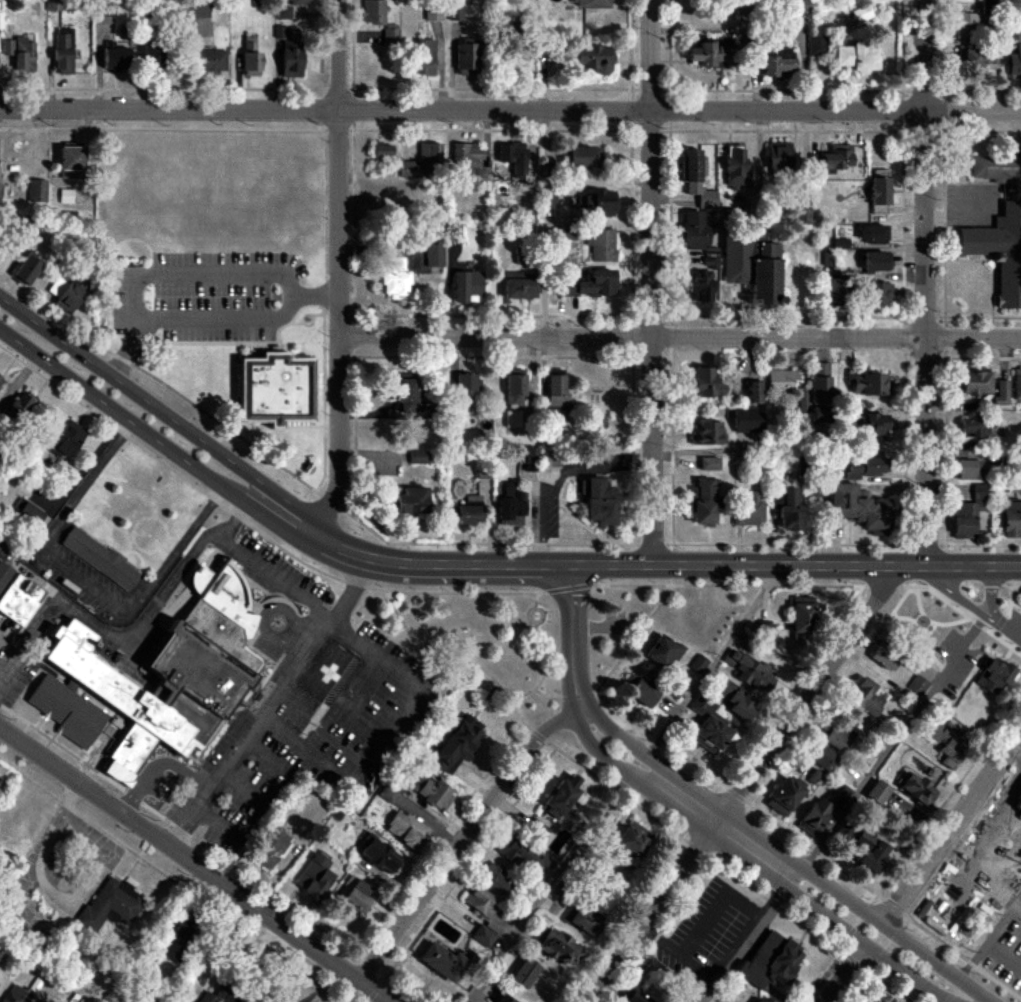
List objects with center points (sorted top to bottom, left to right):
building: (297, 2)
building: (590, 3)
building: (196, 8)
building: (455, 11)
building: (372, 12)
building: (282, 13)
building: (861, 14)
building: (966, 27)
building: (280, 33)
building: (390, 36)
building: (816, 45)
building: (7, 47)
building: (63, 51)
building: (23, 54)
building: (712, 54)
building: (152, 56)
building: (250, 58)
building: (424, 58)
building: (856, 58)
building: (114, 59)
building: (290, 59)
building: (593, 59)
building: (210, 61)
building: (780, 63)
building: (1015, 63)
road: (510, 110)
road: (159, 131)
building: (382, 152)
building: (513, 157)
building: (583, 157)
building: (70, 158)
building: (779, 158)
building: (833, 158)
building: (466, 160)
building: (423, 162)
building: (735, 167)
building: (995, 168)
building: (69, 175)
building: (696, 179)
building: (0, 189)
building: (36, 191)
building: (65, 196)
building: (879, 196)
building: (596, 202)
building: (695, 230)
building: (568, 233)
building: (872, 235)
building: (601, 245)
building: (999, 252)
building: (434, 255)
building: (710, 258)
building: (876, 262)
building: (752, 267)
building: (26, 268)
road: (340, 269)
building: (392, 278)
road: (193, 279)
road: (651, 282)
road: (924, 284)
building: (590, 285)
building: (519, 286)
building: (466, 287)
building: (700, 287)
building: (834, 291)
building: (66, 293)
building: (878, 295)
parking lot: (200, 300)
road: (319, 314)
road: (299, 316)
road: (205, 324)
road: (681, 337)
road: (253, 347)
road: (18, 379)
building: (0, 380)
building: (702, 382)
building: (974, 383)
building: (867, 384)
road: (158, 385)
building: (514, 387)
building: (465, 389)
building: (556, 390)
building: (820, 391)
building: (753, 392)
building: (1001, 393)
building: (408, 395)
road: (145, 398)
building: (266, 400)
building: (803, 402)
building: (20, 406)
building: (512, 418)
building: (747, 420)
building: (873, 425)
road: (137, 426)
road: (310, 428)
building: (973, 428)
building: (706, 434)
building: (64, 438)
building: (417, 457)
building: (529, 459)
building: (552, 461)
building: (708, 464)
building: (868, 468)
road: (178, 476)
building: (979, 492)
building: (703, 501)
building: (510, 506)
building: (855, 506)
building: (786, 508)
building: (748, 510)
building: (27, 512)
building: (468, 515)
building: (964, 519)
building: (1011, 520)
road: (659, 547)
building: (99, 558)
road: (252, 566)
road: (421, 566)
road: (796, 567)
building: (4, 574)
road: (83, 581)
road: (490, 590)
road: (727, 591)
road: (976, 591)
road: (956, 598)
building: (19, 599)
road: (995, 599)
road: (907, 603)
road: (527, 607)
building: (1019, 607)
road: (1018, 611)
road: (964, 615)
road: (560, 616)
building: (801, 617)
road: (258, 619)
road: (534, 623)
road: (1006, 623)
road: (916, 627)
building: (762, 629)
road: (947, 629)
road: (1005, 630)
road: (285, 634)
road: (574, 639)
park: (473, 643)
road: (930, 651)
building: (662, 652)
building: (885, 656)
road: (447, 659)
building: (697, 665)
parking lot: (951, 667)
building: (748, 670)
helipad: (328, 671)
building: (993, 675)
building: (917, 685)
building: (639, 692)
building: (145, 693)
road: (535, 697)
building: (865, 698)
building: (735, 699)
road: (806, 701)
road: (270, 703)
road: (351, 711)
road: (823, 715)
parking lot: (308, 721)
building: (708, 726)
building: (836, 739)
road: (386, 742)
road: (893, 743)
building: (456, 745)
building: (948, 746)
building: (822, 758)
road: (260, 760)
road: (1013, 762)
building: (916, 789)
building: (877, 792)
road: (1004, 792)
road: (236, 793)
building: (432, 793)
building: (387, 794)
building: (784, 796)
building: (560, 798)
parking lot: (1010, 802)
building: (1018, 805)
building: (815, 816)
road: (210, 828)
building: (406, 830)
road: (950, 830)
road: (931, 831)
building: (536, 832)
road: (463, 838)
road: (794, 839)
building: (632, 840)
building: (269, 847)
building: (377, 854)
building: (870, 854)
road: (785, 857)
road: (194, 865)
road: (753, 865)
road: (720, 867)
road: (946, 870)
building: (314, 877)
road: (792, 877)
building: (497, 878)
building: (353, 894)
building: (109, 905)
road: (1015, 915)
building: (483, 917)
road: (648, 918)
building: (584, 919)
parking lot: (706, 931)
building: (177, 941)
road: (742, 944)
road: (981, 947)
building: (558, 948)
road: (1004, 952)
parking lot: (1003, 953)
building: (441, 962)
building: (771, 962)
road: (845, 973)
building: (523, 974)
road: (324, 984)
building: (12, 994)
building: (634, 996)
building: (211, 997)
building: (764, 999)
building: (508, 1000)
building: (874, 1001)
road: (942, 1001)

